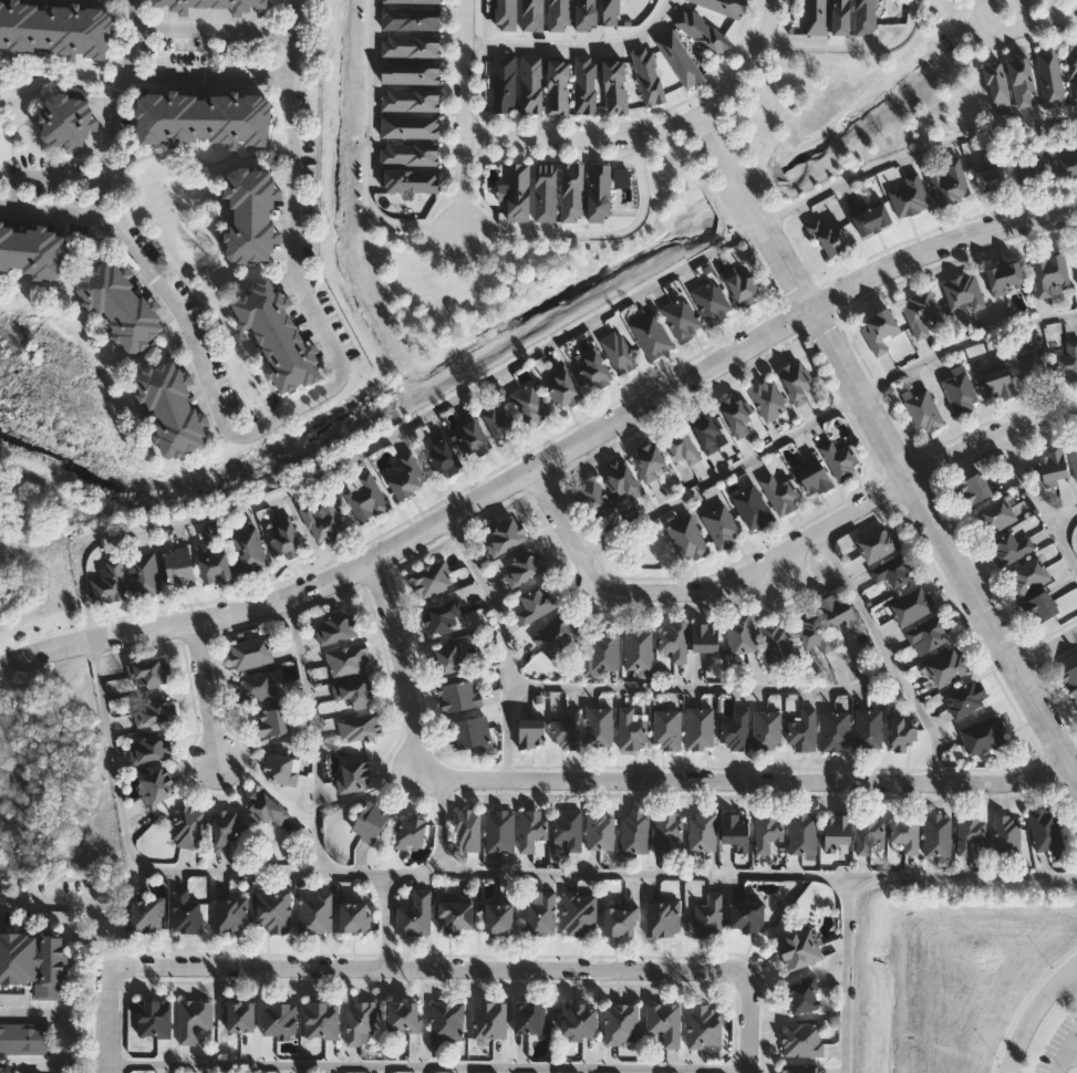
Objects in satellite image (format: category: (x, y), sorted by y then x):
building: (412, 1)
building: (205, 2)
building: (723, 6)
building: (611, 12)
building: (506, 14)
building: (559, 14)
building: (586, 14)
building: (532, 15)
building: (816, 17)
building: (840, 17)
building: (411, 18)
building: (864, 18)
building: (54, 27)
road: (214, 27)
road: (1017, 30)
building: (703, 32)
road: (576, 42)
building: (411, 45)
road: (855, 46)
building: (679, 59)
building: (410, 72)
building: (1071, 72)
building: (648, 75)
road: (206, 77)
building: (1050, 77)
building: (504, 83)
building: (531, 84)
building: (584, 85)
building: (614, 85)
building: (558, 86)
building: (997, 86)
building: (411, 100)
road: (467, 115)
building: (204, 116)
building: (68, 121)
building: (410, 126)
road: (655, 131)
road: (370, 154)
building: (410, 154)
building: (1066, 160)
building: (1031, 165)
building: (990, 173)
road: (39, 176)
building: (410, 180)
building: (947, 183)
building: (518, 191)
building: (599, 191)
building: (545, 192)
building: (571, 192)
building: (909, 197)
road: (294, 202)
road: (46, 210)
building: (250, 213)
building: (870, 219)
road: (596, 232)
building: (829, 239)
building: (32, 250)
road: (145, 269)
building: (1049, 273)
building: (1004, 278)
building: (742, 290)
building: (963, 292)
building: (712, 302)
building: (121, 303)
building: (921, 312)
building: (681, 319)
building: (879, 330)
building: (278, 335)
building: (651, 335)
road: (964, 344)
building: (619, 352)
building: (1068, 362)
building: (1032, 367)
building: (592, 368)
building: (795, 382)
building: (998, 384)
building: (562, 388)
building: (961, 393)
building: (767, 398)
building: (530, 405)
building: (173, 407)
building: (922, 410)
building: (736, 417)
building: (499, 421)
building: (706, 430)
road: (881, 435)
building: (473, 437)
building: (682, 450)
road: (350, 456)
building: (443, 458)
building: (1074, 459)
road: (548, 460)
building: (840, 460)
building: (649, 462)
building: (1052, 465)
building: (404, 475)
road: (718, 476)
building: (814, 478)
building: (619, 479)
building: (973, 488)
building: (779, 492)
building: (365, 498)
building: (594, 498)
road: (1037, 502)
building: (750, 508)
building: (995, 515)
road: (1063, 520)
building: (322, 521)
building: (721, 525)
building: (279, 533)
building: (505, 535)
building: (687, 539)
building: (878, 543)
building: (1009, 548)
road: (784, 550)
building: (248, 551)
building: (211, 562)
building: (522, 566)
building: (178, 567)
road: (777, 569)
building: (894, 570)
building: (144, 575)
building: (1027, 576)
building: (432, 580)
building: (110, 584)
building: (535, 604)
building: (911, 606)
building: (1040, 607)
building: (837, 610)
building: (445, 617)
building: (335, 629)
building: (742, 633)
building: (814, 633)
building: (930, 633)
building: (557, 636)
building: (704, 637)
building: (776, 639)
road: (504, 640)
building: (673, 640)
building: (639, 648)
road: (1044, 648)
building: (604, 650)
road: (886, 653)
building: (251, 654)
building: (451, 658)
building: (349, 660)
building: (947, 667)
building: (153, 673)
building: (1070, 680)
building: (257, 688)
road: (704, 689)
road: (206, 691)
building: (355, 694)
building: (459, 697)
building: (965, 698)
building: (153, 712)
building: (272, 722)
building: (599, 727)
building: (361, 728)
building: (631, 728)
building: (666, 729)
building: (700, 729)
building: (869, 729)
building: (901, 729)
building: (567, 730)
building: (734, 731)
building: (767, 731)
building: (802, 731)
building: (836, 731)
building: (468, 733)
building: (530, 733)
building: (983, 736)
building: (149, 749)
building: (281, 769)
road: (1069, 770)
building: (353, 778)
road: (638, 778)
building: (156, 788)
road: (317, 806)
building: (266, 809)
building: (370, 821)
building: (187, 826)
building: (568, 829)
building: (1045, 829)
building: (467, 830)
building: (531, 830)
building: (600, 830)
building: (225, 831)
building: (500, 831)
building: (735, 831)
building: (836, 831)
building: (635, 832)
building: (667, 832)
building: (702, 832)
building: (768, 832)
building: (868, 832)
building: (905, 832)
building: (969, 832)
building: (410, 833)
building: (802, 834)
building: (936, 835)
building: (1006, 835)
road: (439, 847)
road: (758, 871)
road: (49, 902)
building: (273, 908)
building: (315, 910)
building: (578, 910)
building: (186, 911)
building: (540, 911)
building: (414, 913)
building: (147, 914)
building: (231, 914)
building: (745, 914)
building: (454, 915)
building: (707, 915)
building: (353, 916)
building: (497, 916)
building: (662, 916)
building: (619, 919)
road: (104, 920)
building: (799, 947)
road: (108, 959)
building: (33, 960)
road: (422, 966)
road: (846, 972)
road: (1071, 982)
building: (801, 993)
building: (240, 1015)
building: (403, 1015)
building: (278, 1017)
building: (529, 1017)
building: (154, 1018)
building: (194, 1018)
building: (320, 1018)
road: (1037, 1018)
building: (489, 1019)
building: (578, 1020)
building: (664, 1020)
road: (747, 1020)
building: (447, 1021)
building: (360, 1022)
building: (621, 1022)
building: (703, 1024)
road: (107, 1025)
building: (27, 1036)
road: (71, 1036)
building: (800, 1038)
parking lot: (1062, 1048)
road: (1067, 1053)
road: (427, 1065)
building: (797, 1069)
building: (2, 1072)

